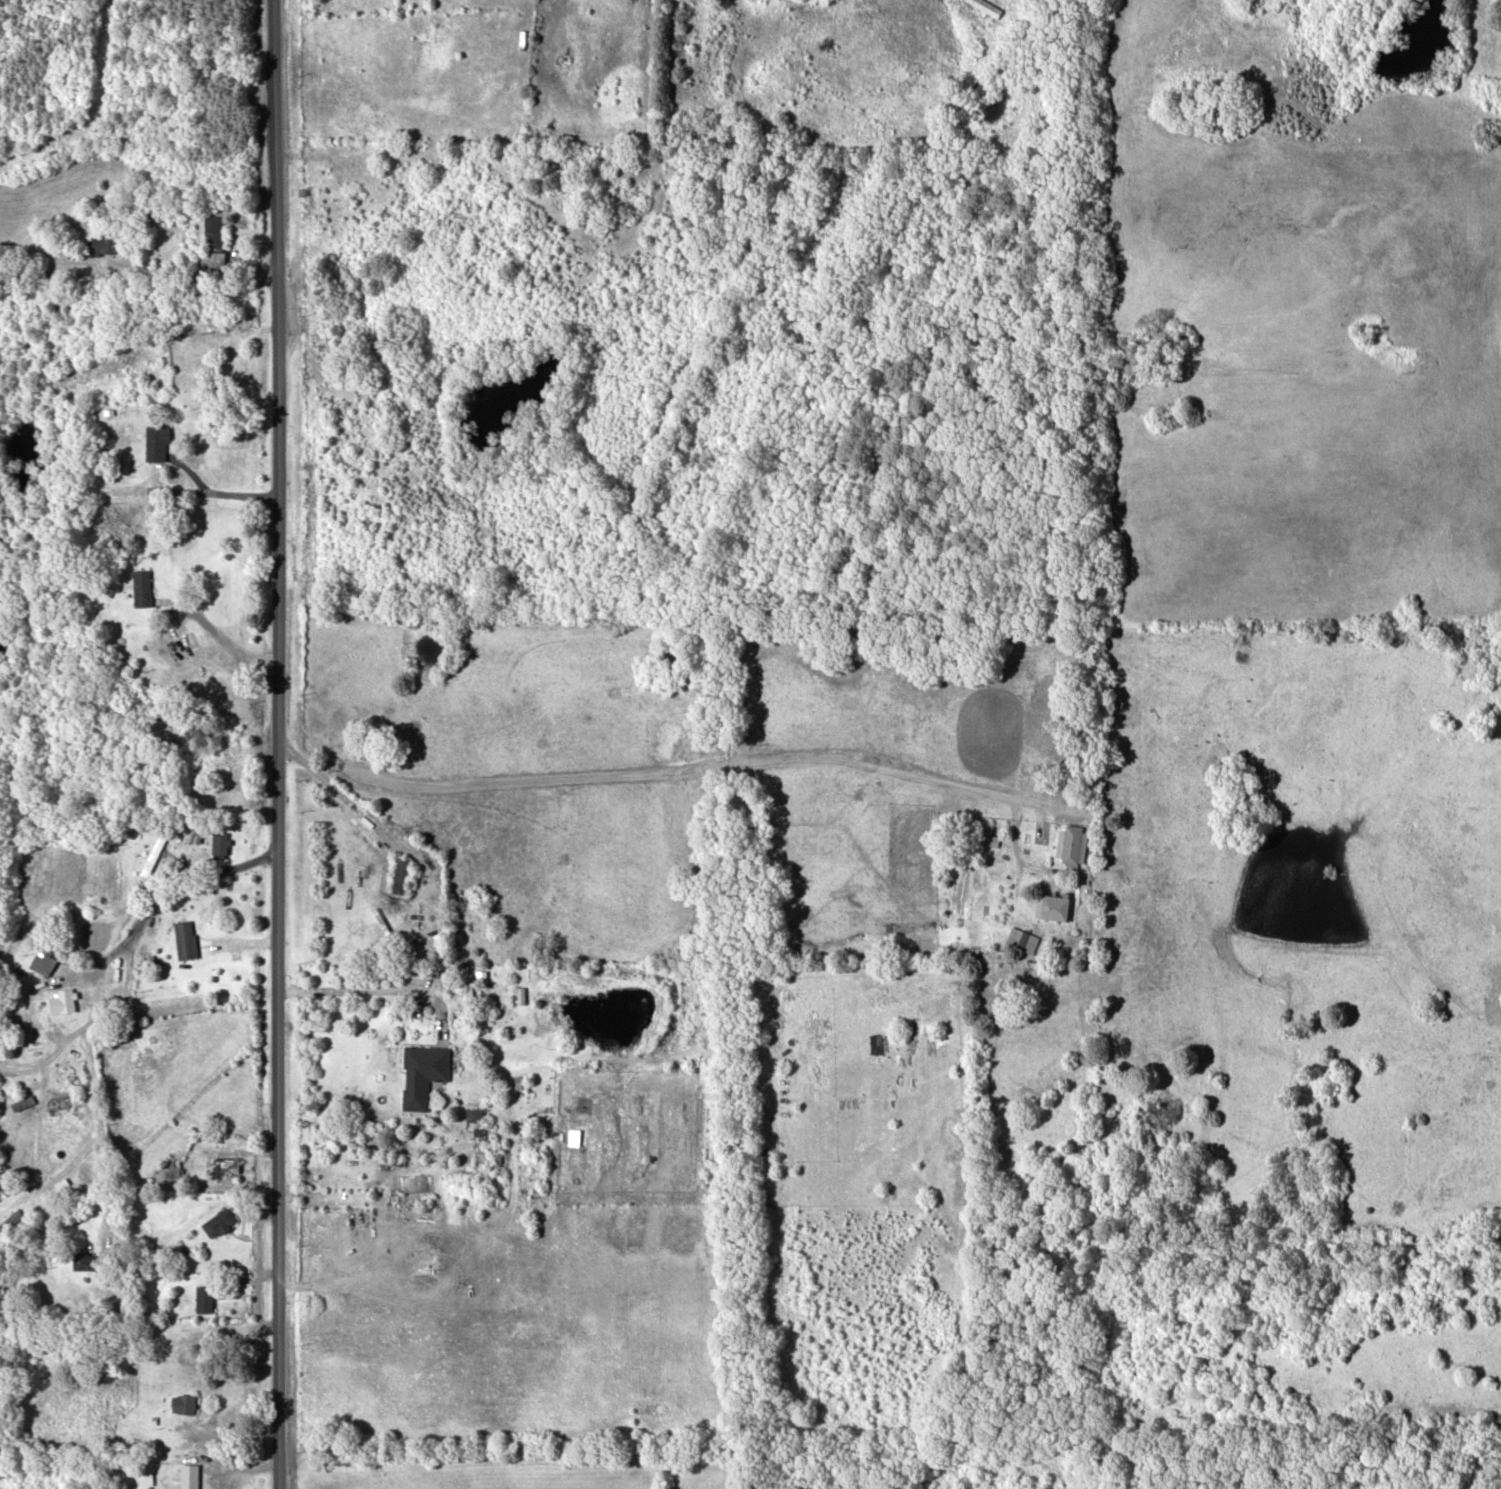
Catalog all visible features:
building: (987, 7)
building: (212, 233)
building: (101, 243)
road: (138, 281)
building: (156, 440)
building: (142, 586)
road: (276, 744)
road: (691, 767)
building: (1068, 842)
building: (220, 843)
building: (152, 853)
building: (401, 873)
road: (148, 899)
building: (1055, 905)
building: (184, 938)
building: (1020, 938)
building: (43, 961)
road: (359, 986)
building: (63, 1000)
road: (47, 1056)
building: (422, 1072)
building: (67, 1075)
road: (95, 1107)
building: (474, 1113)
building: (479, 1146)
building: (221, 1167)
building: (171, 1168)
building: (9, 1219)
building: (218, 1221)
building: (83, 1260)
building: (204, 1298)
building: (183, 1402)
building: (189, 1475)

